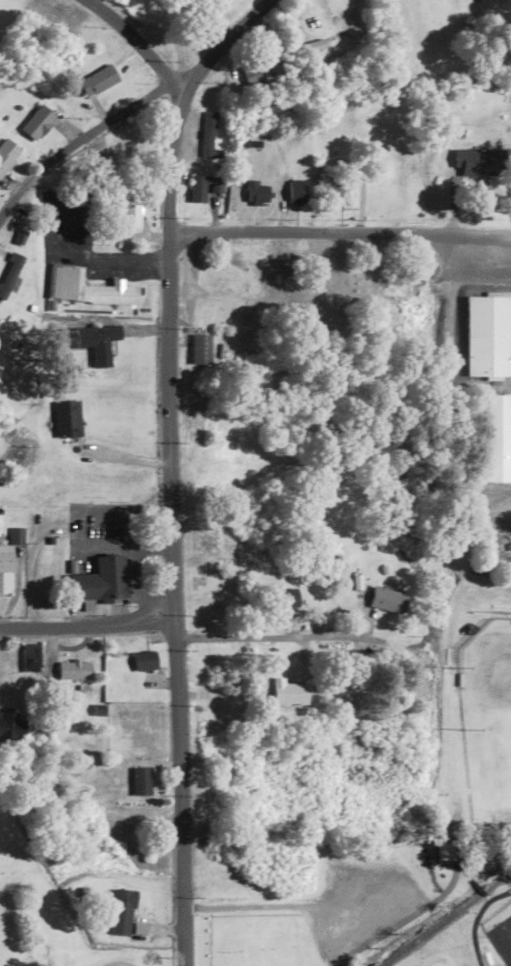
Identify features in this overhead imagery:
road: (130, 36)
road: (214, 41)
building: (254, 75)
building: (98, 80)
building: (38, 122)
building: (208, 134)
road: (77, 140)
building: (121, 148)
building: (8, 154)
building: (481, 163)
building: (204, 187)
building: (298, 192)
building: (256, 193)
building: (337, 193)
building: (131, 214)
road: (338, 232)
building: (9, 273)
building: (87, 288)
building: (330, 288)
building: (395, 289)
building: (488, 336)
building: (95, 342)
building: (201, 349)
road: (168, 352)
building: (67, 419)
building: (498, 437)
building: (48, 480)
building: (215, 543)
building: (8, 561)
building: (101, 581)
building: (207, 593)
building: (288, 598)
building: (388, 600)
road: (283, 619)
road: (86, 624)
building: (31, 659)
building: (145, 661)
building: (74, 670)
building: (289, 692)
building: (11, 727)
building: (209, 748)
building: (141, 782)
road: (178, 794)
building: (127, 832)
park: (380, 850)
building: (444, 852)
building: (122, 912)
road: (486, 927)

